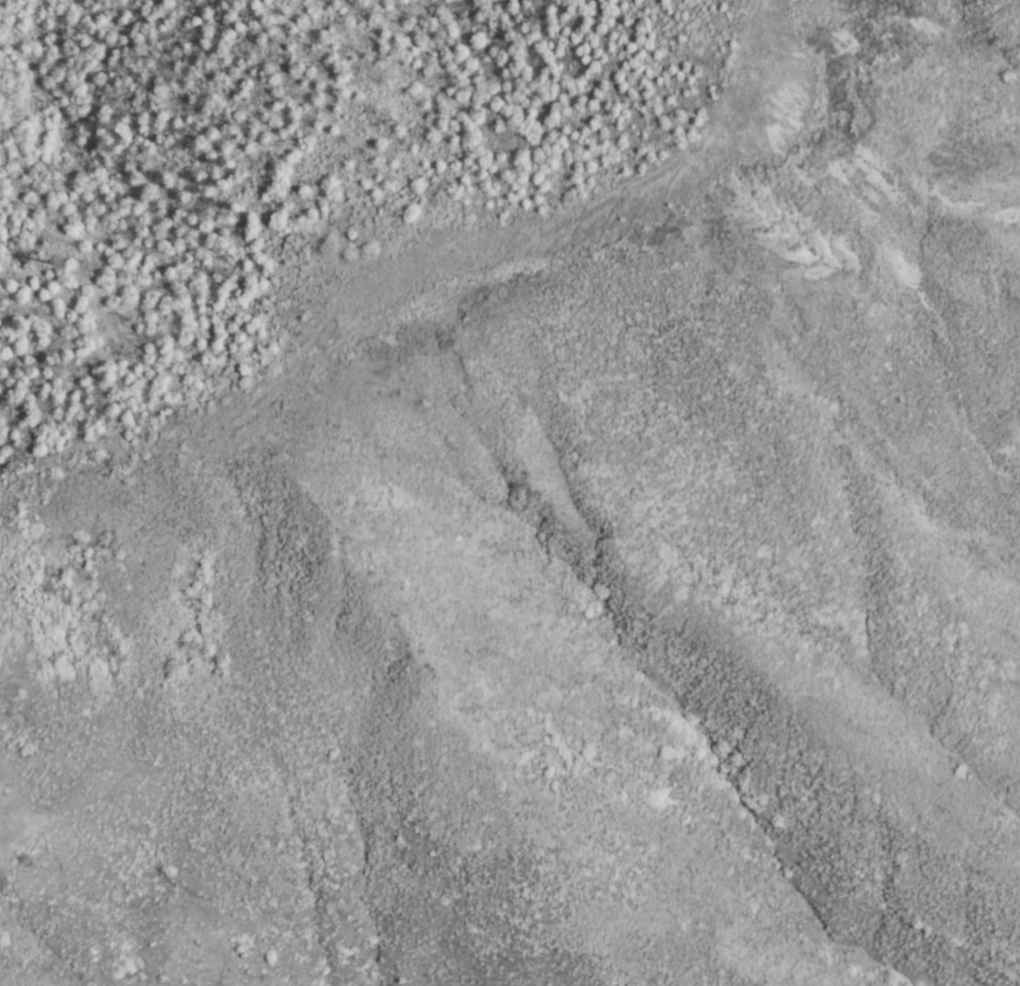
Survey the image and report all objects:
road: (416, 295)

